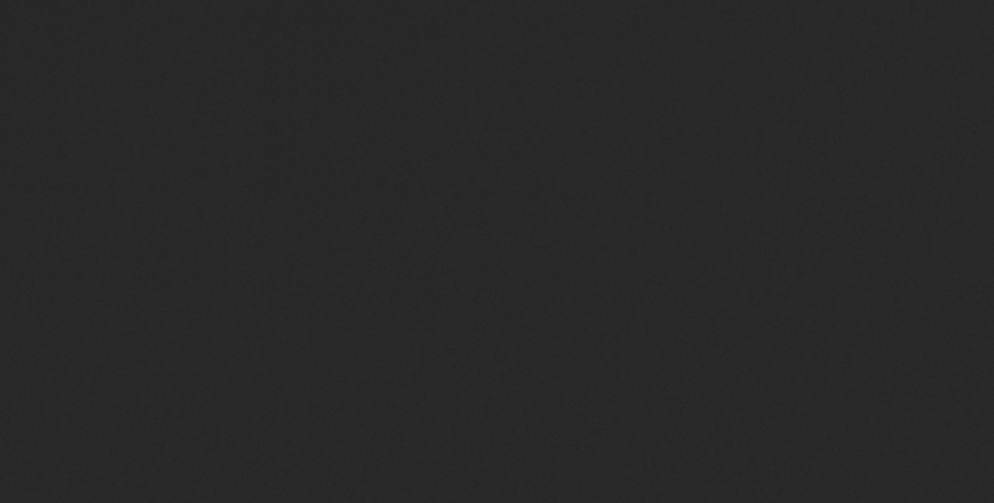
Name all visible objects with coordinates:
river: (970, 14)

